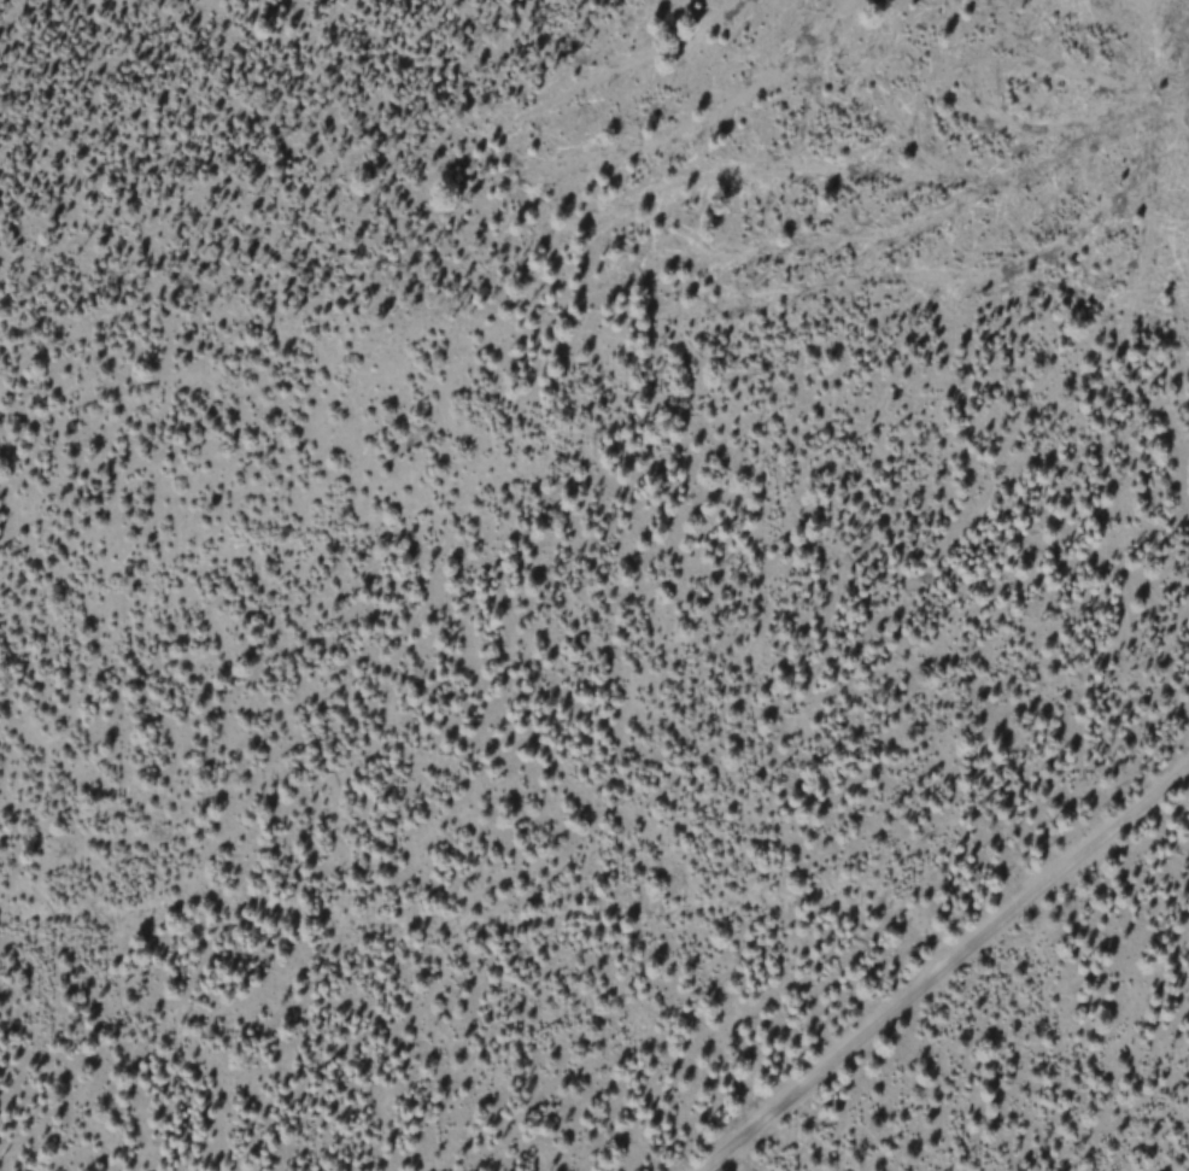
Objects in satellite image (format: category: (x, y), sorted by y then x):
road: (949, 970)

